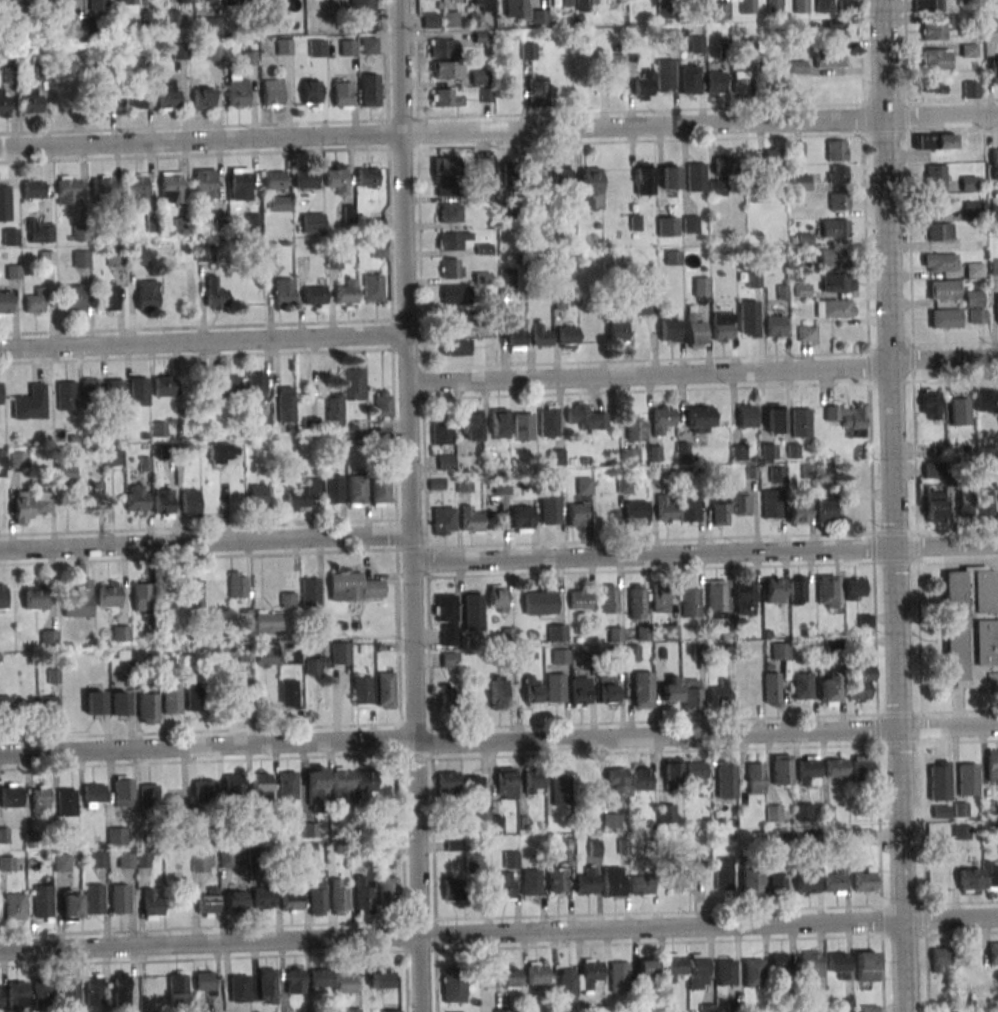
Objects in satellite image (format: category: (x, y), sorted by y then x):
building: (12, 0)
building: (203, 0)
building: (232, 0)
building: (459, 0)
building: (182, 1)
building: (691, 1)
building: (565, 2)
building: (583, 2)
building: (98, 5)
building: (126, 5)
building: (845, 5)
building: (929, 5)
building: (747, 6)
building: (801, 6)
building: (824, 6)
building: (773, 7)
building: (514, 8)
building: (721, 10)
building: (360, 11)
building: (538, 16)
building: (666, 16)
building: (450, 18)
building: (429, 20)
building: (213, 25)
building: (76, 30)
building: (938, 31)
building: (837, 32)
building: (697, 44)
building: (368, 45)
building: (283, 46)
building: (316, 48)
building: (442, 48)
building: (528, 50)
building: (969, 50)
building: (179, 51)
building: (214, 51)
building: (829, 59)
building: (936, 59)
building: (798, 67)
building: (994, 68)
building: (444, 70)
building: (615, 72)
building: (665, 74)
building: (479, 77)
building: (690, 79)
building: (742, 81)
building: (716, 82)
building: (643, 85)
building: (931, 85)
building: (971, 89)
building: (369, 90)
building: (536, 91)
building: (271, 92)
building: (342, 93)
building: (167, 94)
building: (310, 94)
building: (237, 95)
building: (446, 97)
building: (202, 98)
building: (30, 101)
building: (134, 101)
building: (3, 102)
building: (99, 105)
road: (498, 129)
building: (936, 141)
building: (837, 150)
building: (774, 159)
building: (994, 163)
building: (484, 164)
building: (444, 165)
building: (558, 173)
building: (839, 174)
building: (935, 175)
building: (337, 177)
building: (367, 177)
building: (671, 177)
building: (696, 177)
building: (645, 178)
building: (274, 179)
building: (305, 179)
building: (719, 179)
building: (801, 182)
building: (204, 183)
building: (240, 184)
building: (508, 184)
building: (592, 185)
building: (101, 186)
building: (137, 187)
building: (447, 187)
building: (170, 188)
building: (32, 189)
building: (67, 190)
building: (483, 190)
building: (3, 191)
building: (839, 201)
building: (279, 203)
building: (936, 204)
building: (971, 210)
building: (506, 211)
building: (449, 215)
building: (151, 220)
building: (252, 222)
building: (312, 223)
building: (691, 224)
building: (182, 226)
building: (668, 226)
building: (836, 227)
building: (940, 231)
building: (80, 232)
building: (40, 233)
building: (569, 233)
building: (453, 240)
building: (831, 256)
building: (48, 257)
building: (672, 257)
building: (138, 258)
building: (334, 261)
building: (941, 263)
building: (994, 267)
building: (451, 268)
building: (974, 269)
building: (507, 277)
building: (838, 282)
building: (701, 286)
building: (373, 288)
building: (944, 290)
building: (215, 293)
building: (284, 293)
building: (347, 293)
building: (147, 295)
building: (314, 295)
building: (455, 295)
building: (73, 298)
building: (107, 298)
building: (974, 298)
building: (36, 301)
building: (5, 303)
building: (646, 306)
building: (997, 307)
building: (835, 308)
building: (977, 315)
building: (748, 318)
building: (945, 318)
building: (461, 322)
building: (722, 327)
building: (775, 327)
building: (618, 328)
building: (694, 329)
building: (669, 331)
building: (806, 333)
building: (515, 334)
building: (541, 336)
building: (590, 336)
building: (567, 337)
road: (202, 341)
building: (454, 347)
road: (703, 373)
building: (256, 383)
building: (162, 385)
building: (90, 386)
building: (224, 387)
building: (138, 390)
building: (0, 392)
building: (114, 393)
building: (66, 395)
building: (344, 395)
building: (30, 403)
building: (383, 403)
building: (286, 404)
building: (930, 404)
building: (986, 404)
building: (960, 411)
building: (747, 415)
building: (586, 417)
building: (662, 417)
building: (700, 418)
building: (774, 418)
building: (848, 418)
building: (548, 421)
building: (801, 422)
building: (499, 423)
building: (471, 424)
building: (522, 427)
building: (636, 428)
building: (159, 429)
building: (441, 430)
building: (768, 451)
building: (738, 452)
building: (111, 455)
building: (630, 455)
building: (19, 459)
building: (454, 462)
building: (2, 463)
building: (932, 469)
building: (65, 471)
building: (777, 474)
building: (624, 482)
building: (463, 483)
building: (584, 485)
building: (332, 488)
building: (356, 490)
building: (380, 491)
building: (257, 496)
building: (301, 496)
building: (136, 499)
building: (42, 502)
building: (741, 502)
building: (965, 502)
building: (984, 502)
building: (163, 503)
building: (191, 503)
building: (771, 504)
building: (22, 506)
road: (409, 506)
road: (892, 506)
building: (934, 506)
building: (550, 507)
building: (689, 507)
building: (665, 509)
building: (720, 510)
building: (825, 511)
building: (635, 512)
building: (798, 512)
building: (577, 514)
building: (521, 518)
building: (470, 520)
building: (443, 521)
road: (205, 541)
road: (704, 552)
road: (945, 559)
building: (237, 584)
building: (354, 587)
building: (798, 589)
building: (855, 589)
building: (774, 590)
parking lot: (997, 590)
building: (827, 591)
building: (310, 592)
building: (193, 593)
building: (108, 594)
building: (2, 596)
building: (34, 597)
building: (745, 597)
building: (142, 598)
building: (497, 598)
building: (715, 598)
building: (580, 599)
building: (608, 599)
building: (660, 599)
building: (79, 600)
building: (636, 601)
building: (539, 602)
building: (690, 602)
building: (472, 611)
building: (446, 614)
building: (268, 622)
building: (971, 627)
building: (671, 631)
building: (120, 632)
building: (556, 632)
building: (615, 634)
road: (919, 636)
building: (49, 638)
building: (781, 651)
building: (340, 652)
building: (632, 652)
building: (245, 654)
building: (292, 654)
building: (560, 656)
building: (267, 657)
building: (141, 658)
building: (220, 658)
building: (314, 662)
building: (861, 685)
building: (803, 687)
building: (555, 688)
building: (829, 688)
building: (385, 689)
building: (642, 689)
building: (670, 689)
building: (772, 689)
building: (361, 690)
building: (532, 690)
building: (580, 690)
building: (608, 691)
building: (497, 692)
building: (720, 693)
building: (288, 694)
building: (449, 695)
building: (691, 695)
building: (196, 697)
building: (171, 699)
road: (958, 701)
building: (94, 702)
building: (118, 703)
building: (6, 705)
building: (147, 708)
building: (47, 709)
road: (946, 711)
road: (498, 737)
building: (992, 766)
building: (836, 767)
building: (862, 767)
building: (781, 769)
building: (808, 770)
building: (672, 772)
building: (695, 773)
building: (640, 777)
building: (756, 778)
building: (727, 779)
building: (967, 779)
building: (364, 781)
building: (447, 781)
building: (534, 781)
building: (616, 782)
building: (233, 784)
building: (506, 784)
building: (562, 784)
building: (287, 785)
building: (342, 785)
building: (260, 786)
building: (204, 788)
building: (316, 788)
building: (473, 789)
building: (122, 791)
building: (94, 794)
building: (11, 795)
building: (149, 795)
building: (40, 801)
building: (173, 801)
building: (66, 802)
building: (960, 809)
building: (803, 811)
building: (665, 812)
building: (774, 813)
building: (611, 820)
building: (309, 830)
building: (117, 835)
building: (865, 837)
building: (594, 848)
building: (309, 855)
building: (226, 857)
building: (98, 859)
building: (511, 859)
building: (473, 860)
building: (61, 862)
building: (202, 862)
building: (682, 873)
building: (723, 874)
building: (990, 875)
building: (557, 879)
building: (865, 879)
building: (969, 879)
building: (777, 880)
building: (807, 880)
building: (587, 881)
building: (613, 881)
building: (750, 881)
building: (835, 881)
building: (531, 882)
building: (503, 885)
building: (641, 885)
building: (388, 889)
building: (453, 889)
building: (363, 894)
building: (337, 897)
building: (119, 898)
building: (94, 899)
building: (263, 899)
building: (290, 899)
building: (316, 899)
building: (42, 900)
building: (235, 900)
building: (208, 903)
building: (152, 905)
building: (14, 906)
building: (70, 906)
road: (924, 918)
road: (498, 931)
building: (993, 953)
building: (939, 959)
building: (780, 964)
building: (838, 964)
building: (673, 965)
building: (809, 965)
building: (867, 966)
building: (646, 971)
building: (698, 971)
building: (726, 972)
building: (753, 972)
building: (537, 973)
building: (509, 974)
building: (320, 977)
building: (381, 977)
building: (618, 977)
building: (295, 979)
building: (579, 979)
building: (205, 983)
building: (344, 983)
building: (453, 984)
building: (267, 986)
building: (177, 988)
building: (239, 988)
building: (93, 989)
building: (121, 989)
building: (69, 991)
building: (42, 993)
building: (17, 994)
building: (0, 997)
building: (819, 1005)
building: (847, 1005)
building: (707, 1007)
building: (869, 1008)
building: (391, 1010)
building: (502, 1010)
building: (455, 1011)
building: (559, 1011)

